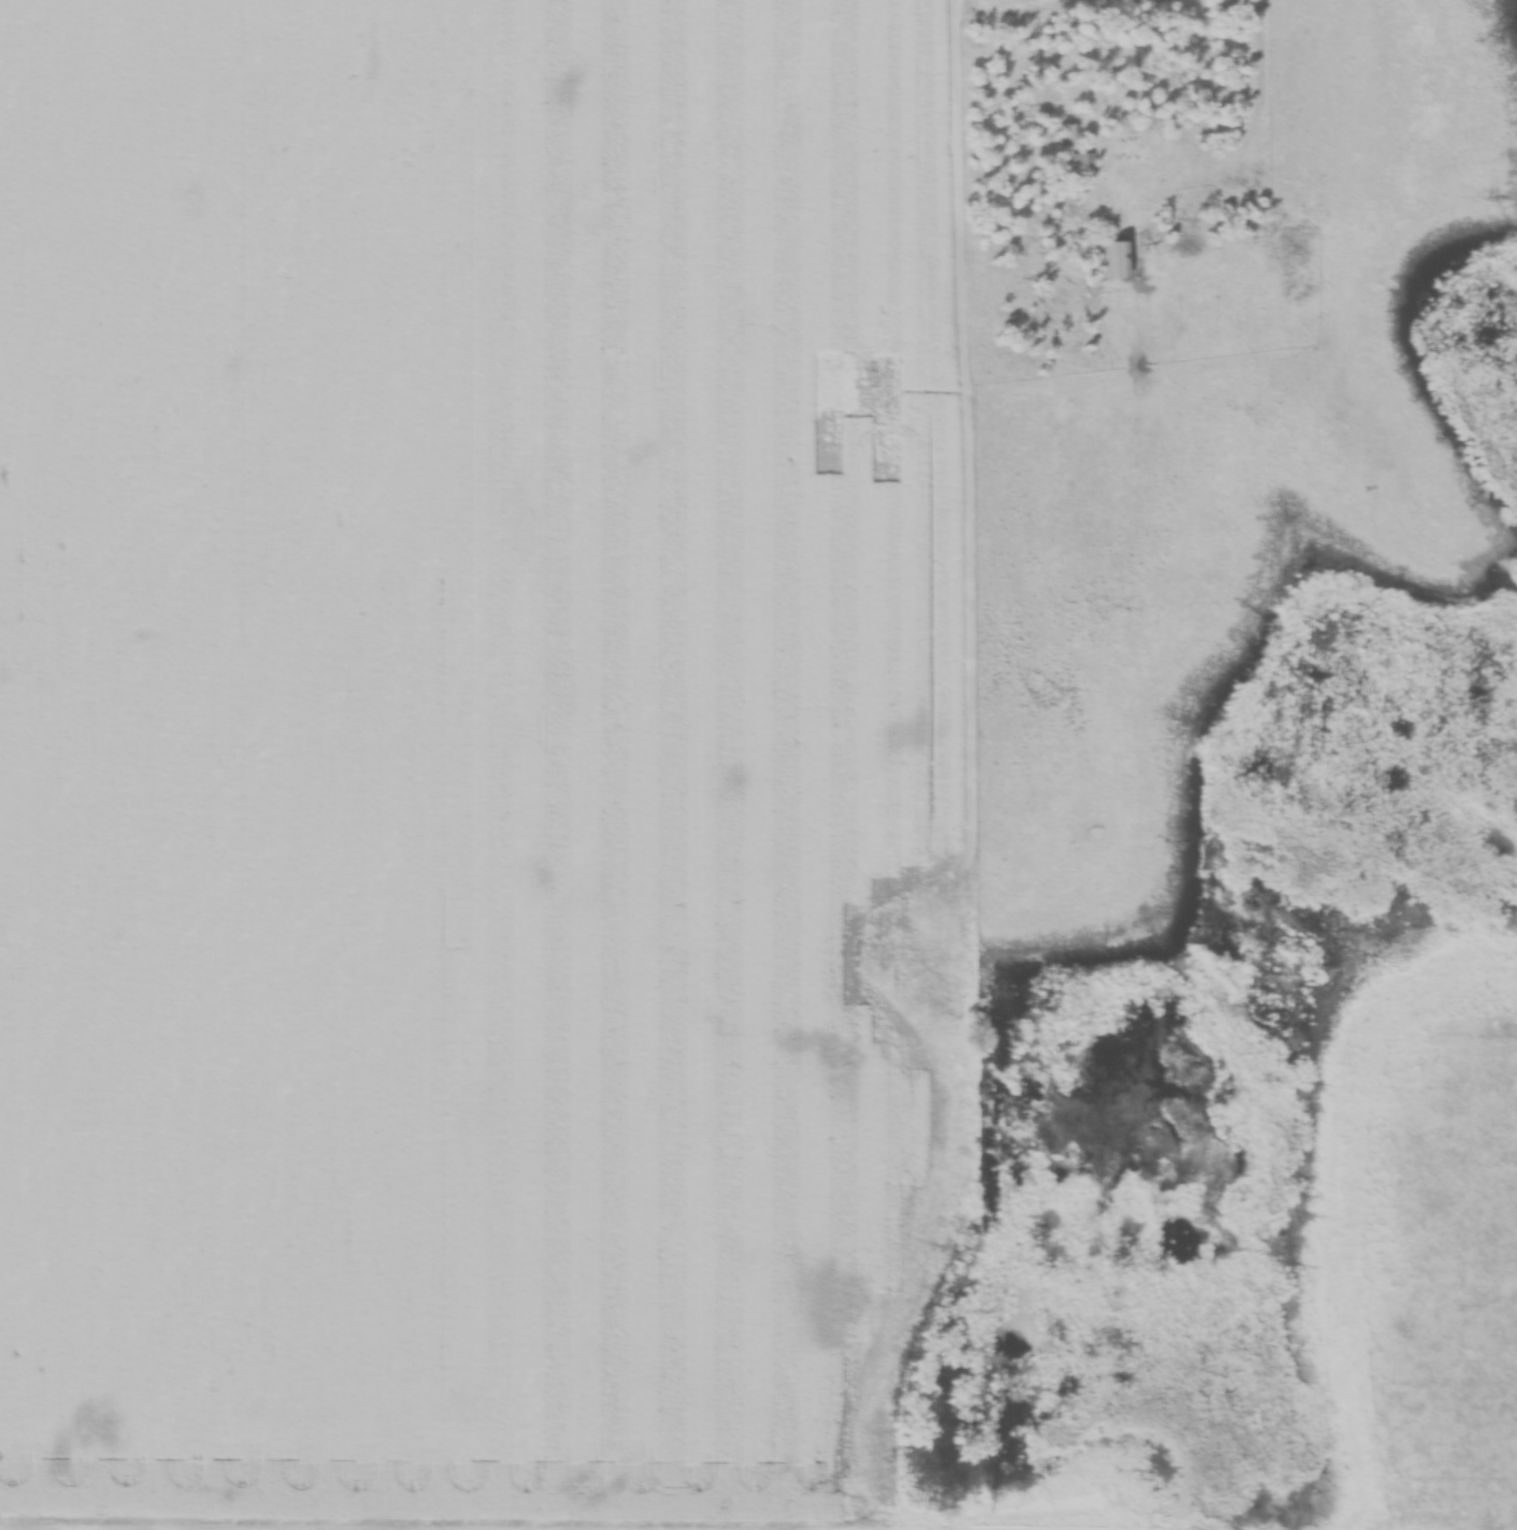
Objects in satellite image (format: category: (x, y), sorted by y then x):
road: (1248, 69)
building: (1068, 134)
building: (1081, 163)
building: (1110, 258)

